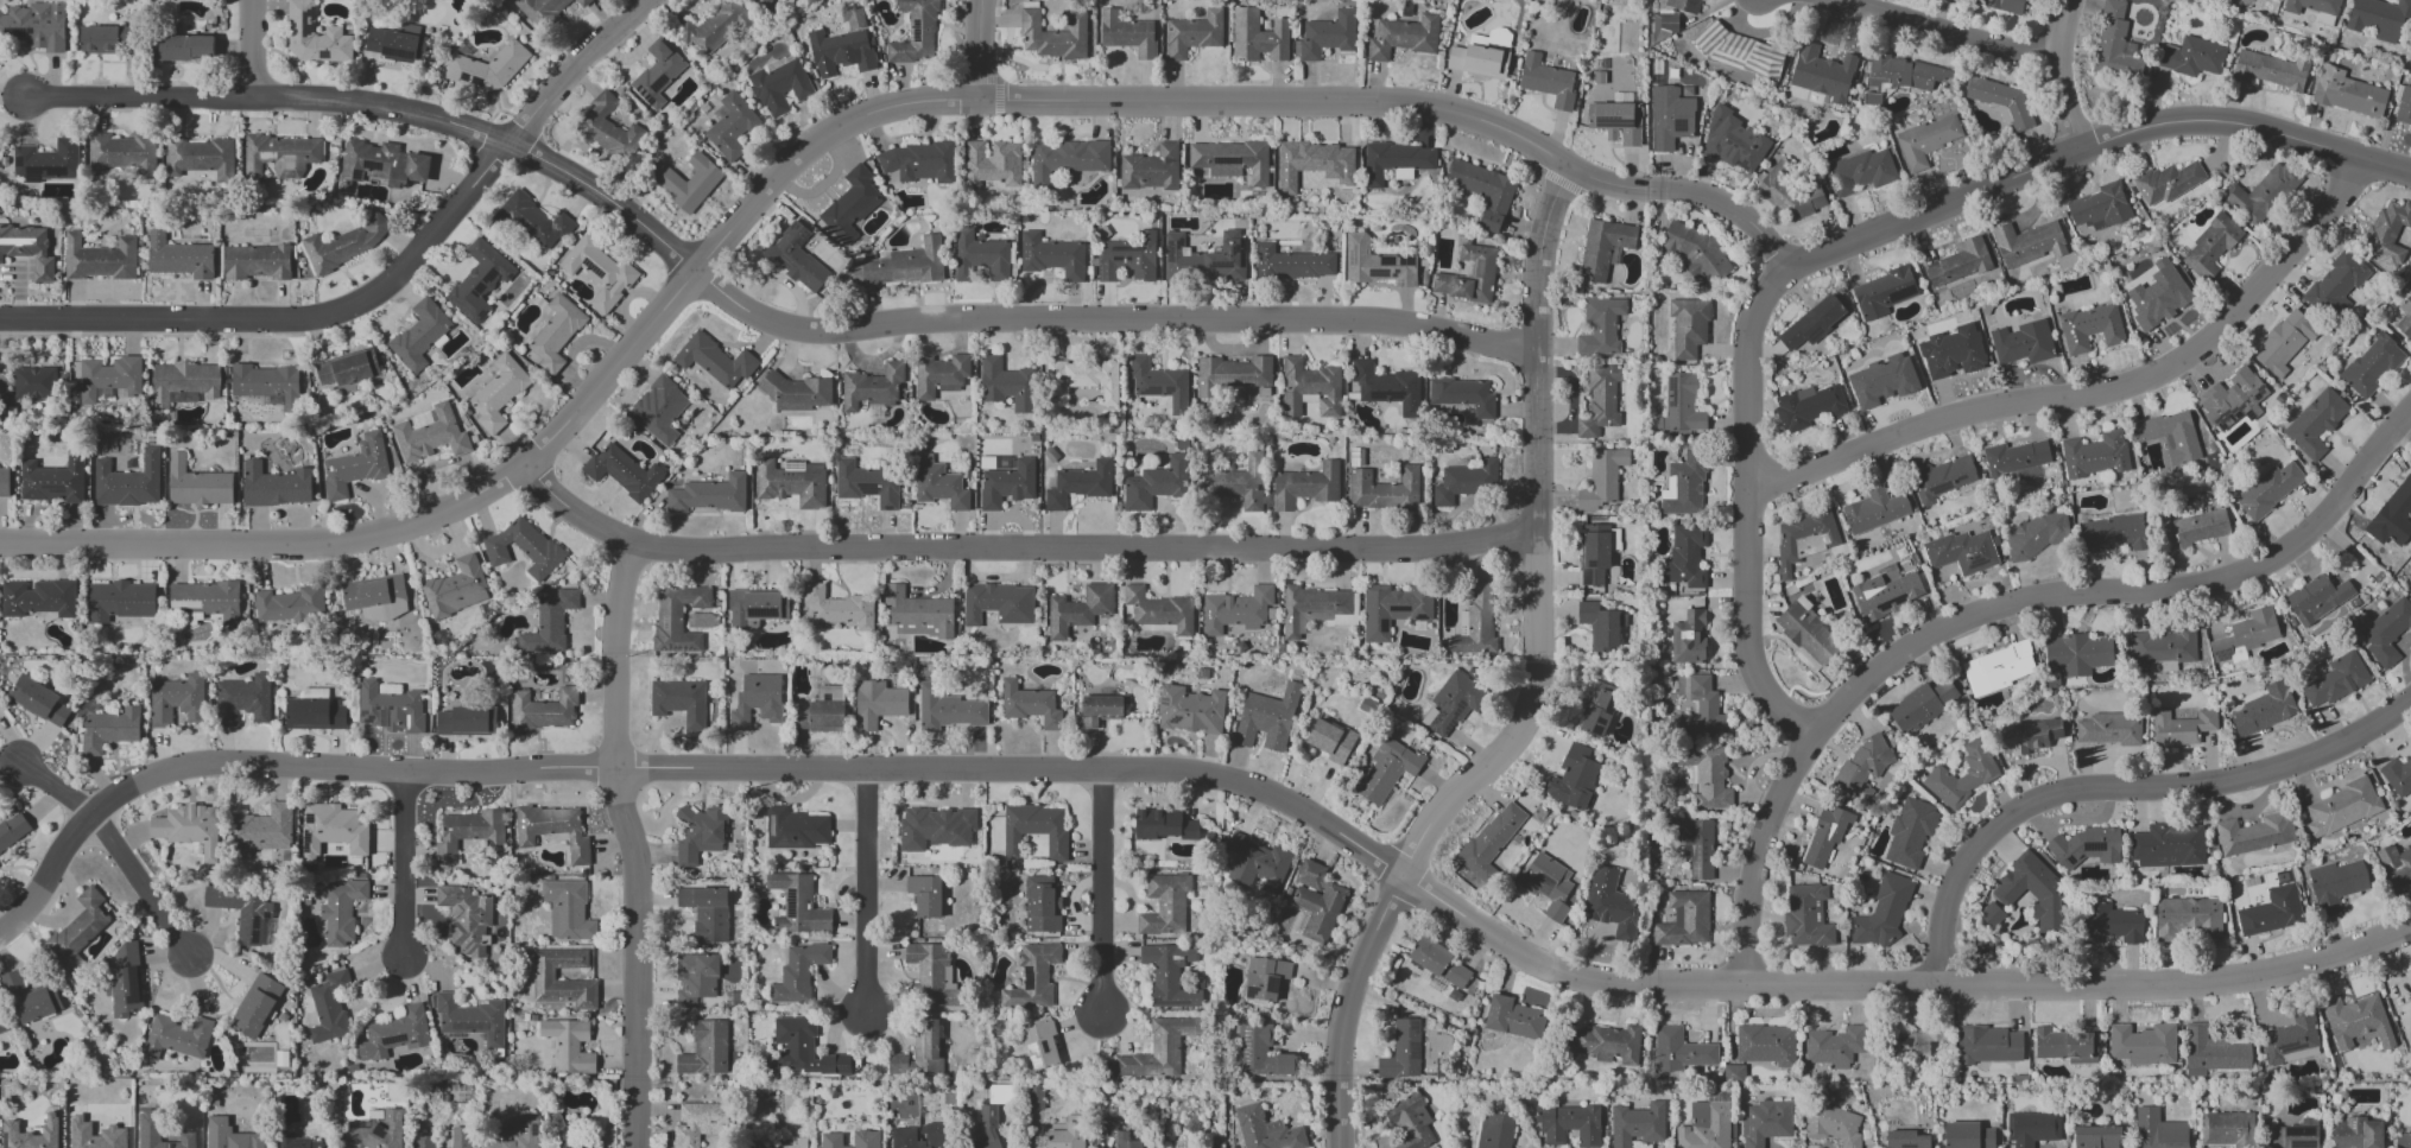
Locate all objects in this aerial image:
building: (582, 2)
building: (1684, 5)
building: (2002, 5)
building: (539, 9)
building: (2315, 9)
building: (853, 18)
building: (2381, 19)
building: (1664, 21)
building: (34, 26)
building: (714, 27)
rooftop solar panel: (29, 31)
rooftop solar panel: (21, 32)
building: (913, 33)
building: (1127, 33)
building: (1194, 33)
building: (312, 36)
building: (1052, 36)
building: (1327, 36)
road: (1939, 36)
building: (1258, 37)
building: (1403, 37)
building: (1492, 38)
building: (106, 39)
building: (395, 43)
building: (2114, 45)
building: (185, 47)
road: (253, 49)
road: (981, 49)
rooftop solar panel: (388, 51)
building: (841, 51)
building: (1739, 51)
rooftop solar panel: (401, 52)
rooftop solar panel: (412, 55)
building: (2192, 57)
building: (1477, 61)
building: (487, 68)
building: (2268, 70)
building: (657, 74)
building: (1822, 74)
road: (2061, 74)
building: (1903, 76)
building: (1546, 81)
rooftop solar panel: (659, 82)
building: (779, 84)
building: (2347, 93)
rooftop solar panel: (643, 95)
road: (138, 99)
rooftop solar panel: (651, 101)
road: (1232, 101)
building: (2000, 101)
building: (2404, 106)
building: (1670, 116)
building: (1616, 121)
rooftop solar panel: (1612, 122)
building: (609, 127)
building: (730, 127)
building: (1925, 140)
building: (1733, 142)
road: (2093, 145)
building: (122, 153)
building: (279, 156)
building: (201, 158)
building: (1067, 158)
rooftop solar panel: (17, 159)
building: (1230, 159)
building: (46, 161)
building: (919, 161)
rooftop solar panel: (1223, 161)
building: (1396, 161)
building: (381, 163)
building: (992, 163)
building: (1314, 163)
rooftop solar panel: (374, 165)
building: (1151, 169)
rooftop solar panel: (55, 171)
building: (1861, 171)
rooftop solar panel: (30, 175)
rooftop solar panel: (357, 175)
building: (665, 178)
building: (2168, 182)
building: (1483, 191)
building: (1787, 192)
building: (2260, 194)
building: (849, 205)
building: (2100, 207)
building: (533, 221)
building: (2386, 234)
building: (344, 243)
building: (2027, 243)
building: (1603, 247)
building: (2210, 247)
building: (29, 248)
building: (1696, 252)
building: (980, 256)
building: (1051, 256)
building: (1205, 256)
building: (179, 258)
building: (797, 258)
building: (99, 259)
building: (1961, 261)
building: (257, 262)
building: (1291, 264)
building: (1377, 264)
building: (903, 265)
building: (599, 272)
rooftop solar panel: (1394, 273)
rooftop solar panel: (1380, 274)
building: (1468, 275)
building: (479, 279)
building: (2335, 285)
road: (385, 287)
building: (1882, 292)
building: (2158, 296)
rooftop solar panel: (462, 310)
rooftop solar panel: (482, 313)
building: (2405, 316)
building: (1811, 322)
building: (1600, 326)
building: (1688, 326)
road: (865, 328)
building: (2089, 328)
building: (556, 332)
building: (419, 335)
rooftop solar panel: (1814, 335)
building: (2283, 342)
building: (2021, 343)
building: (1951, 351)
building: (714, 360)
building: (2371, 364)
building: (346, 368)
building: (939, 375)
building: (1230, 375)
building: (109, 378)
building: (1082, 378)
building: (1881, 381)
building: (265, 382)
building: (33, 383)
building: (1005, 383)
building: (1158, 383)
rooftop solar panel: (1673, 385)
building: (1386, 386)
building: (872, 388)
building: (1310, 388)
building: (498, 393)
building: (797, 393)
road: (2093, 393)
building: (1463, 395)
building: (2229, 399)
building: (1600, 401)
building: (1682, 402)
building: (1808, 406)
building: (659, 408)
rooftop solar panel: (2227, 414)
rooftop solar panel: (2249, 416)
building: (2315, 423)
building: (2170, 435)
building: (430, 436)
building: (2094, 455)
building: (2014, 458)
rooftop solar panel: (792, 464)
building: (996, 464)
building: (354, 465)
rooftop solar panel: (616, 468)
building: (622, 471)
building: (53, 478)
building: (1601, 478)
building: (1942, 478)
building: (1232, 481)
building: (127, 482)
building: (791, 482)
building: (1464, 482)
building: (4, 483)
building: (866, 483)
building: (1156, 483)
building: (197, 484)
building: (938, 484)
building: (1007, 484)
building: (1078, 484)
building: (1683, 484)
building: (274, 486)
building: (1305, 486)
rooftop solar panel: (866, 489)
building: (1384, 489)
building: (2267, 489)
building: (709, 494)
building: (1873, 510)
building: (2396, 513)
road: (1751, 515)
building: (2192, 527)
building: (2112, 533)
building: (2035, 535)
road: (400, 537)
building: (1803, 538)
building: (1614, 540)
road: (1021, 546)
building: (523, 547)
building: (1962, 551)
building: (1594, 554)
building: (1684, 557)
rooftop solar panel: (1590, 563)
rooftop solar panel: (1587, 577)
building: (456, 588)
building: (1886, 592)
building: (38, 597)
building: (375, 597)
building: (2316, 598)
building: (207, 600)
building: (119, 601)
building: (998, 603)
building: (290, 604)
rooftop solar panel: (1882, 604)
building: (755, 607)
building: (839, 607)
building: (1236, 609)
building: (1392, 609)
building: (1077, 610)
building: (1157, 611)
rooftop solar panel: (761, 613)
building: (917, 614)
building: (677, 617)
road: (1995, 621)
rooftop solar panel: (664, 622)
building: (1475, 622)
building: (549, 623)
building: (1601, 624)
building: (2387, 632)
building: (1808, 633)
building: (2245, 636)
building: (1688, 638)
building: (2163, 648)
rooftop solar panel: (681, 649)
rooftop solar panel: (2225, 652)
building: (2076, 654)
building: (1998, 667)
building: (2334, 680)
road: (1536, 684)
building: (242, 699)
building: (38, 700)
building: (177, 700)
building: (679, 700)
building: (757, 700)
rooftop solar panel: (1162, 700)
building: (878, 703)
building: (1453, 703)
building: (1029, 704)
rooftop solar panel: (1441, 705)
building: (1922, 705)
building: (1597, 706)
building: (387, 708)
building: (2264, 709)
building: (543, 710)
building: (947, 710)
building: (1100, 710)
building: (1189, 710)
building: (315, 711)
building: (1698, 711)
rooftop solar panel: (363, 712)
building: (820, 712)
rooftop solar panel: (1456, 717)
building: (1267, 718)
rooftop solar panel: (1439, 718)
rooftop solar panel: (371, 719)
rooftop solar panel: (382, 719)
building: (466, 721)
rooftop solar panel: (1172, 721)
building: (2181, 728)
building: (109, 729)
building: (2109, 729)
rooftop solar panel: (1435, 731)
building: (2029, 736)
building: (1330, 740)
building: (1861, 769)
building: (1386, 770)
building: (1707, 775)
building: (1961, 775)
building: (2397, 776)
building: (1574, 778)
road: (1196, 782)
road: (55, 788)
road: (2120, 793)
building: (2341, 807)
rooftop solar panel: (310, 818)
building: (185, 825)
rooftop solar panel: (771, 827)
building: (935, 827)
building: (795, 829)
building: (1170, 829)
building: (12, 830)
building: (261, 830)
building: (331, 830)
building: (552, 830)
building: (1034, 830)
building: (469, 832)
building: (1910, 832)
building: (698, 833)
building: (2254, 833)
building: (1824, 835)
rooftop solar panel: (1690, 839)
rooftop solar panel: (306, 842)
building: (1691, 844)
road: (618, 845)
rooftop solar panel: (781, 845)
building: (1487, 845)
building: (2169, 845)
building: (2087, 846)
rooftop solar panel: (2094, 846)
rooftop solar panel: (1698, 850)
building: (1257, 863)
building: (2394, 865)
road: (403, 867)
rooftop solar panel: (1696, 870)
building: (1548, 884)
building: (2335, 884)
road: (143, 887)
rooftop solar panel: (1545, 887)
road: (867, 888)
road: (1103, 889)
building: (2032, 890)
building: (924, 895)
building: (1317, 901)
building: (1165, 903)
building: (1611, 903)
building: (797, 905)
building: (1042, 905)
rooftop solar panel: (791, 906)
building: (567, 909)
building: (341, 911)
building: (2271, 911)
building: (242, 912)
building: (705, 912)
building: (1881, 912)
building: (1806, 915)
building: (1991, 915)
rooftop solar panel: (270, 919)
building: (466, 919)
building: (2188, 919)
building: (1684, 920)
building: (2109, 924)
rooftop solar panel: (257, 925)
building: (77, 930)
rooftop solar panel: (264, 931)
rooftop solar panel: (257, 938)
building: (1438, 962)
building: (798, 972)
building: (543, 973)
building: (931, 973)
building: (1167, 973)
building: (1032, 976)
building: (695, 978)
building: (1264, 978)
building: (2407, 978)
building: (125, 981)
rooftop solar panel: (1273, 983)
rooftop solar panel: (132, 985)
rooftop solar panel: (1247, 994)
building: (30, 998)
building: (257, 1006)
building: (328, 1007)
building: (472, 1019)
building: (1513, 1019)
building: (2405, 1019)
building: (2356, 1023)
building: (1, 1025)
rooftop solar panel: (463, 1026)
building: (394, 1034)
rooftop solar panel: (488, 1036)
building: (176, 1038)
building: (2290, 1039)
rooftop solar panel: (1245, 1044)
building: (1609, 1044)
building: (1917, 1044)
building: (2143, 1044)
building: (569, 1045)
building: (1766, 1045)
building: (1988, 1045)
building: (2067, 1045)
building: (1040, 1046)
building: (1835, 1046)
building: (803, 1048)
building: (704, 1049)
building: (1154, 1051)
building: (1261, 1051)
building: (1401, 1051)
building: (1679, 1051)
building: (919, 1052)
building: (2213, 1053)
building: (1733, 1073)
building: (999, 1093)
building: (1034, 1097)
building: (1410, 1122)
building: (1766, 1122)
building: (700, 1123)
building: (1569, 1124)
building: (1637, 1124)
building: (1833, 1124)
building: (527, 1125)
building: (989, 1127)
building: (1704, 1127)
building: (2031, 1128)
building: (2227, 1129)
building: (1265, 1130)
building: (2158, 1130)
building: (1494, 1131)
rooftop solar panel: (2295, 1131)
building: (158, 1133)
rooftop solar panel: (376, 1133)
building: (378, 1133)
building: (1115, 1133)
building: (2355, 1133)
building: (31, 1134)
building: (903, 1134)
building: (1067, 1134)
building: (95, 1135)
building: (229, 1135)
building: (1967, 1135)
building: (2293, 1135)
building: (2095, 1136)
building: (460, 1137)
building: (866, 1139)
building: (568, 1140)
building: (1905, 1140)
building: (2403, 1140)
building: (296, 1141)
building: (423, 1142)
building: (784, 1144)
rooftop solar panel: (2301, 1144)
rooftop solar panel: (292, 1147)
rooftop solar panel: (1910, 1147)

